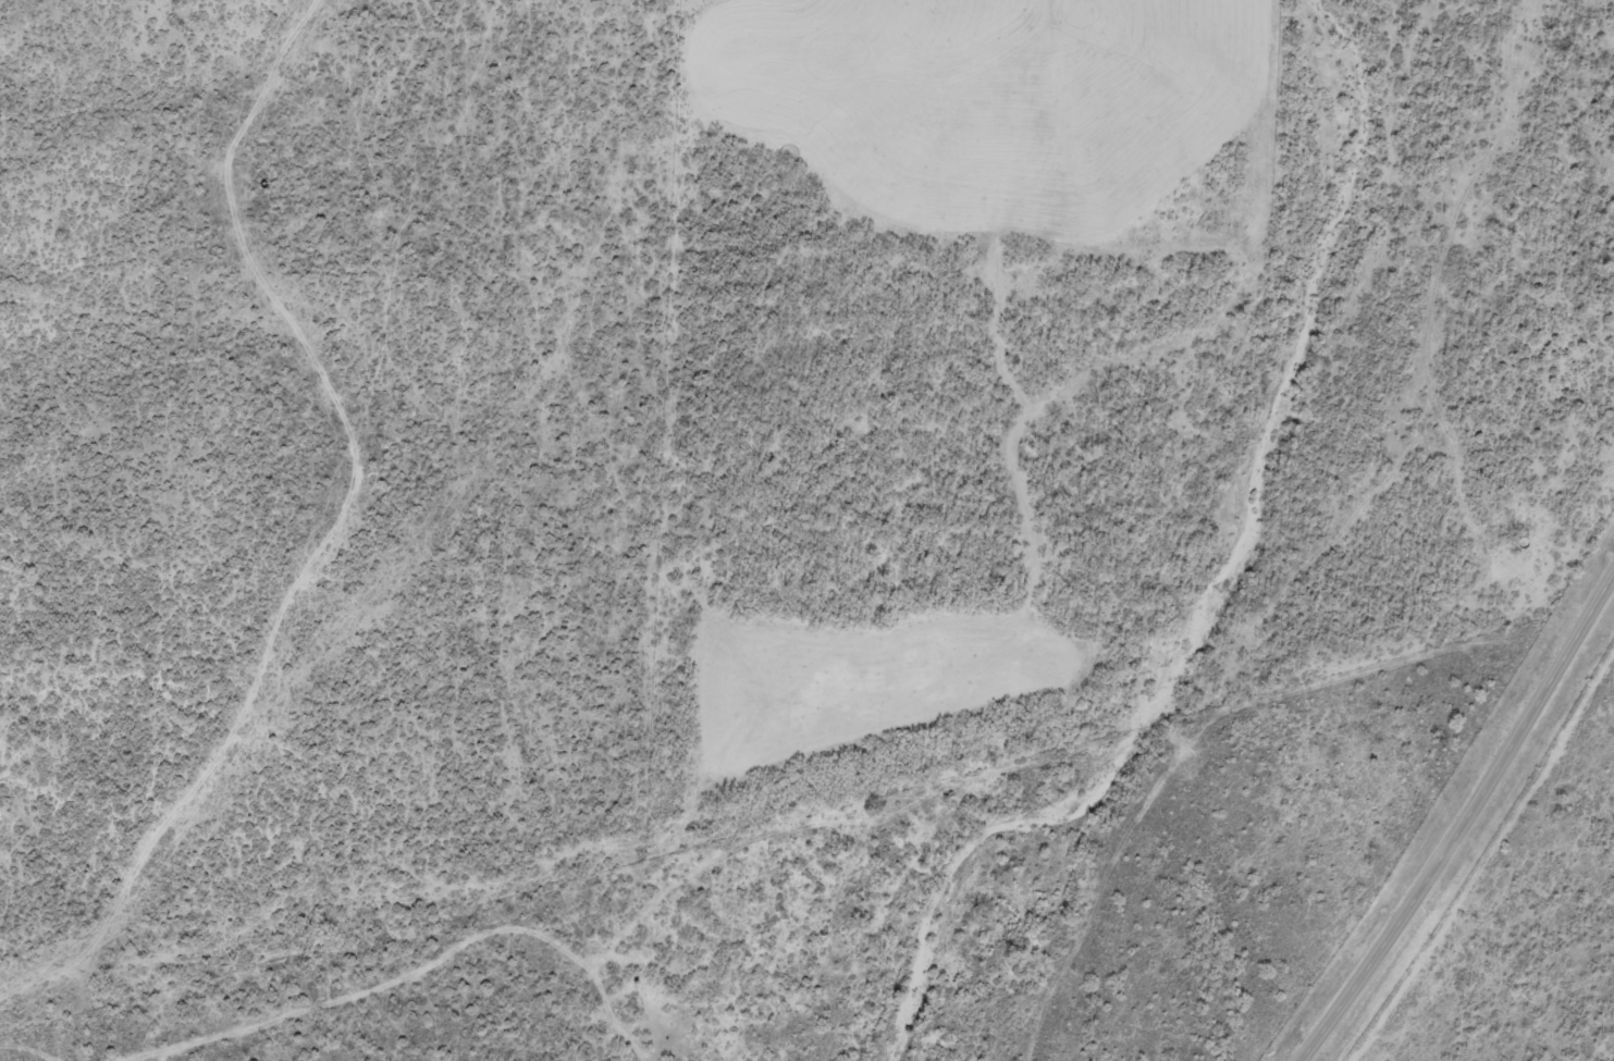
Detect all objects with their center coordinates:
road: (342, 575)
road: (1465, 823)

